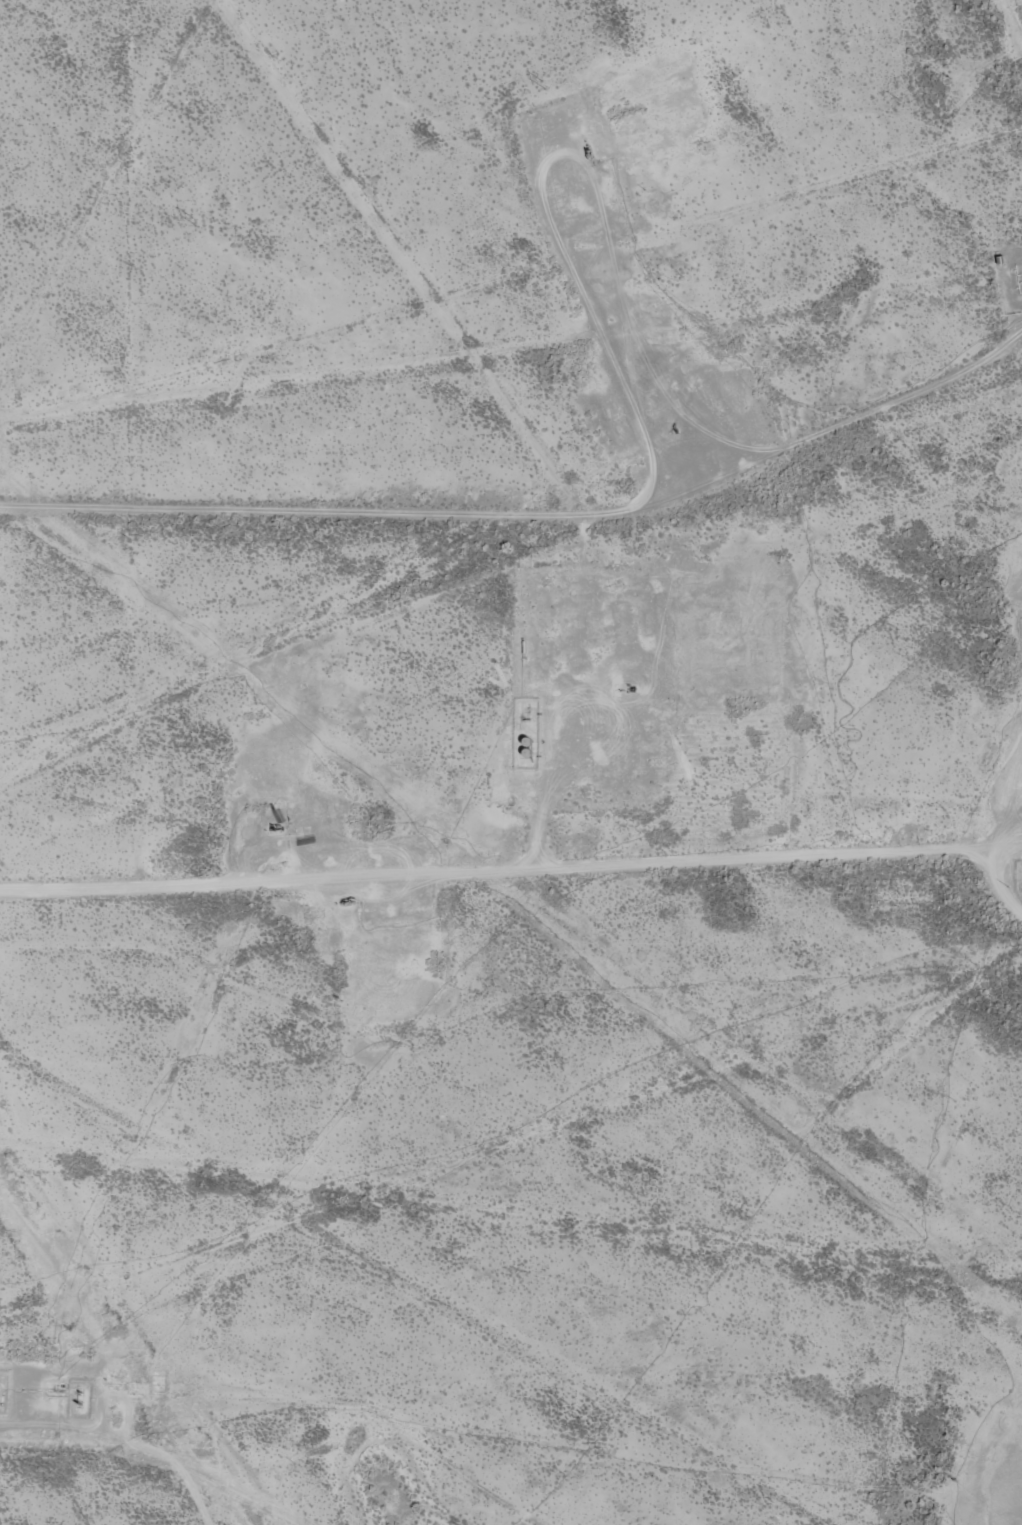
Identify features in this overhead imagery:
power tower: (543, 84)
power tower: (192, 221)
road: (328, 516)

